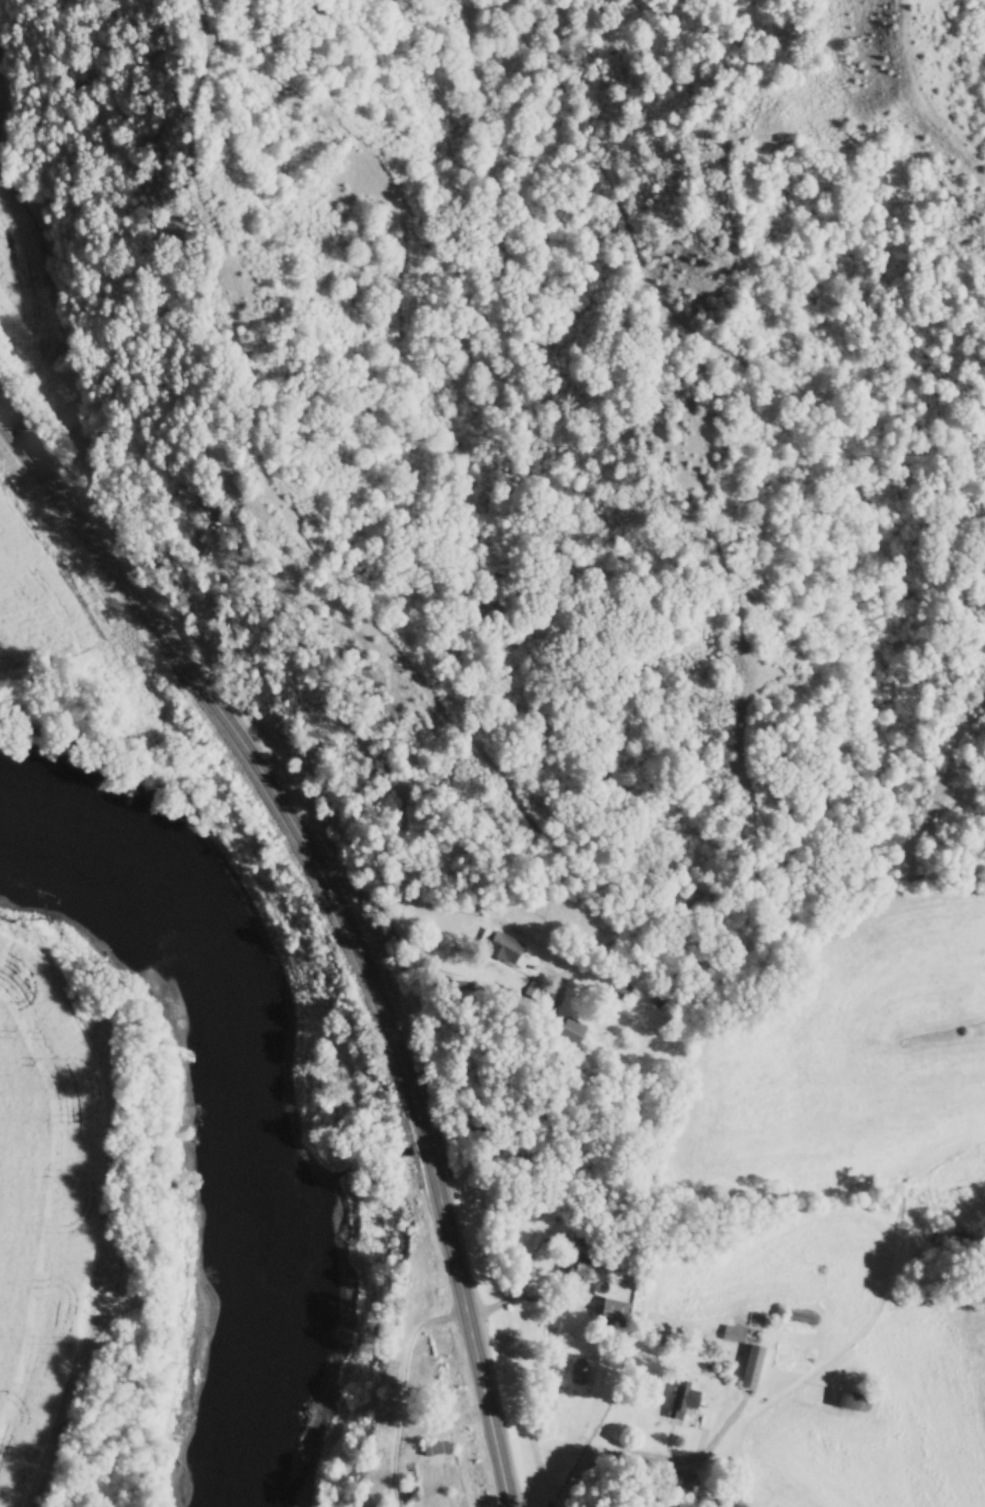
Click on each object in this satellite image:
road: (347, 919)
building: (501, 943)
building: (533, 986)
building: (623, 990)
building: (657, 998)
building: (572, 1031)
river: (256, 1084)
building: (577, 1265)
building: (615, 1310)
building: (733, 1332)
building: (753, 1365)
building: (579, 1371)
building: (684, 1398)
building: (845, 1398)
building: (437, 1447)
road: (648, 1454)
building: (679, 1477)
building: (411, 1493)

